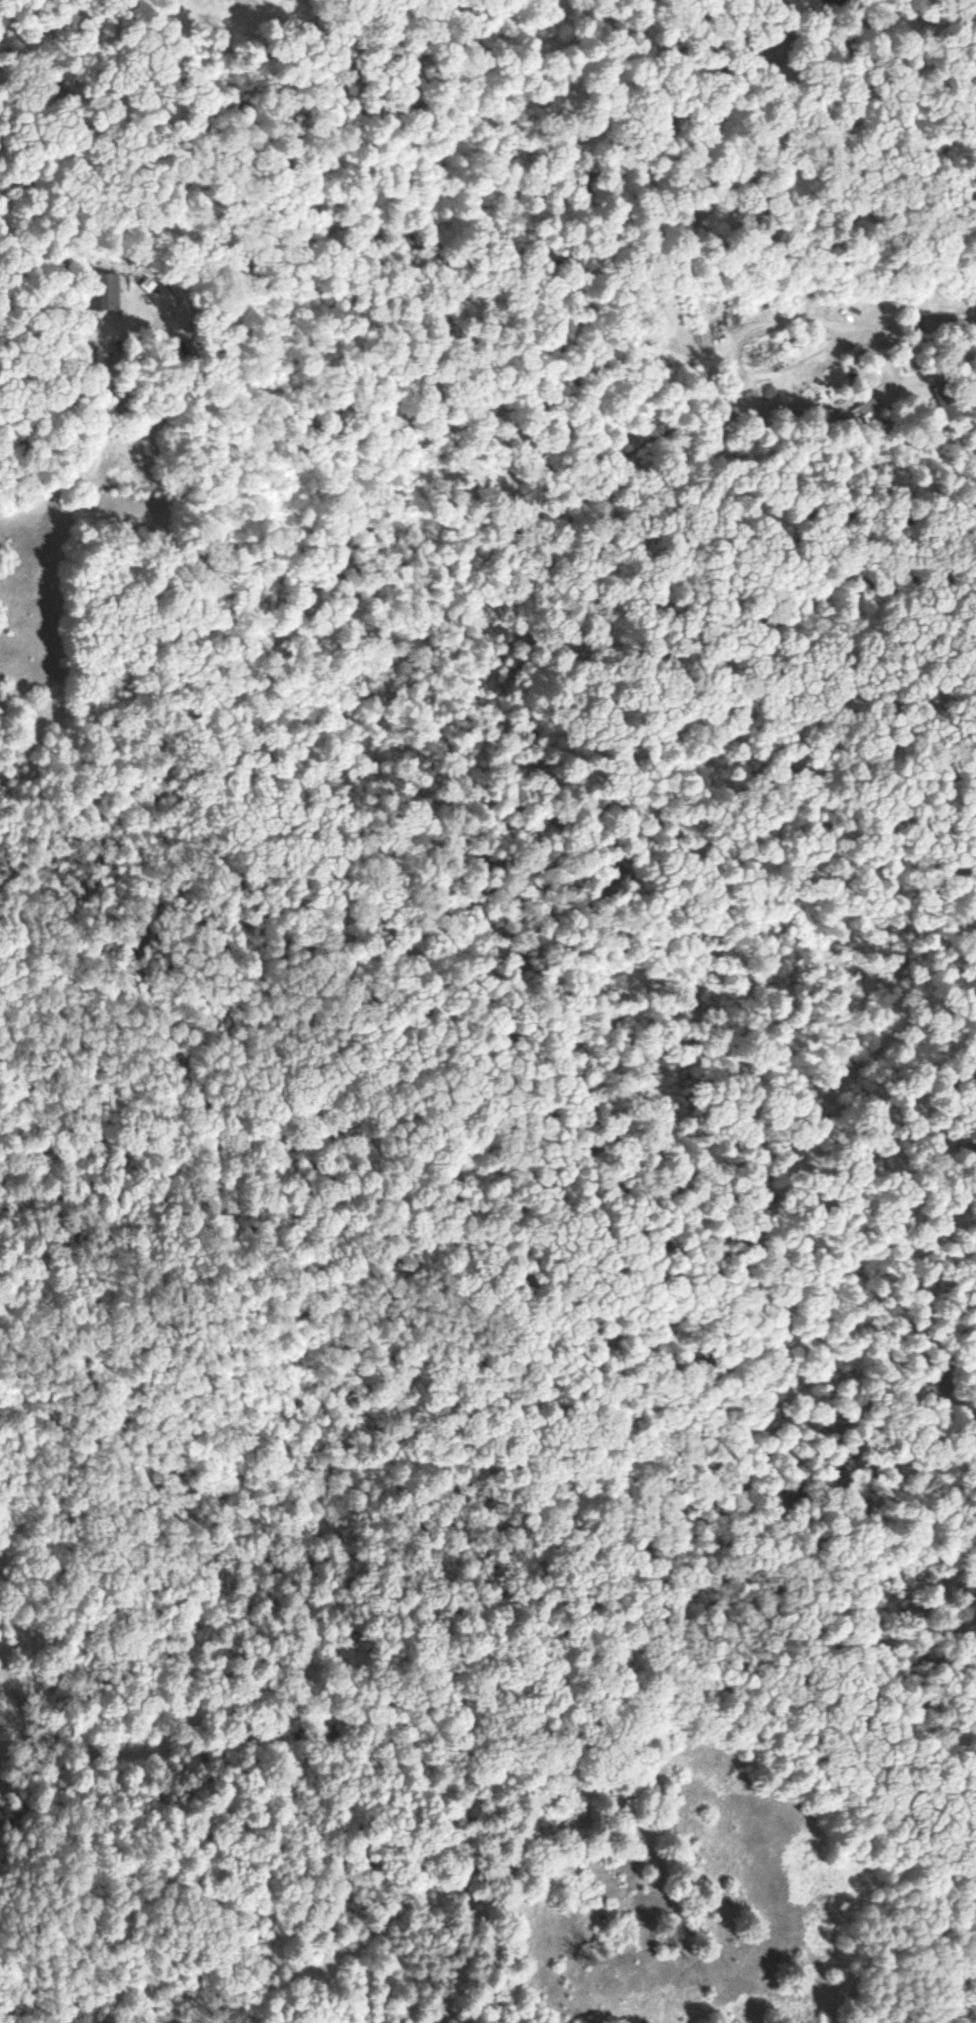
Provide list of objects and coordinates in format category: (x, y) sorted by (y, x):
building: (802, 4)
road: (679, 180)
building: (103, 292)
building: (947, 403)
building: (867, 412)
road: (44, 513)

